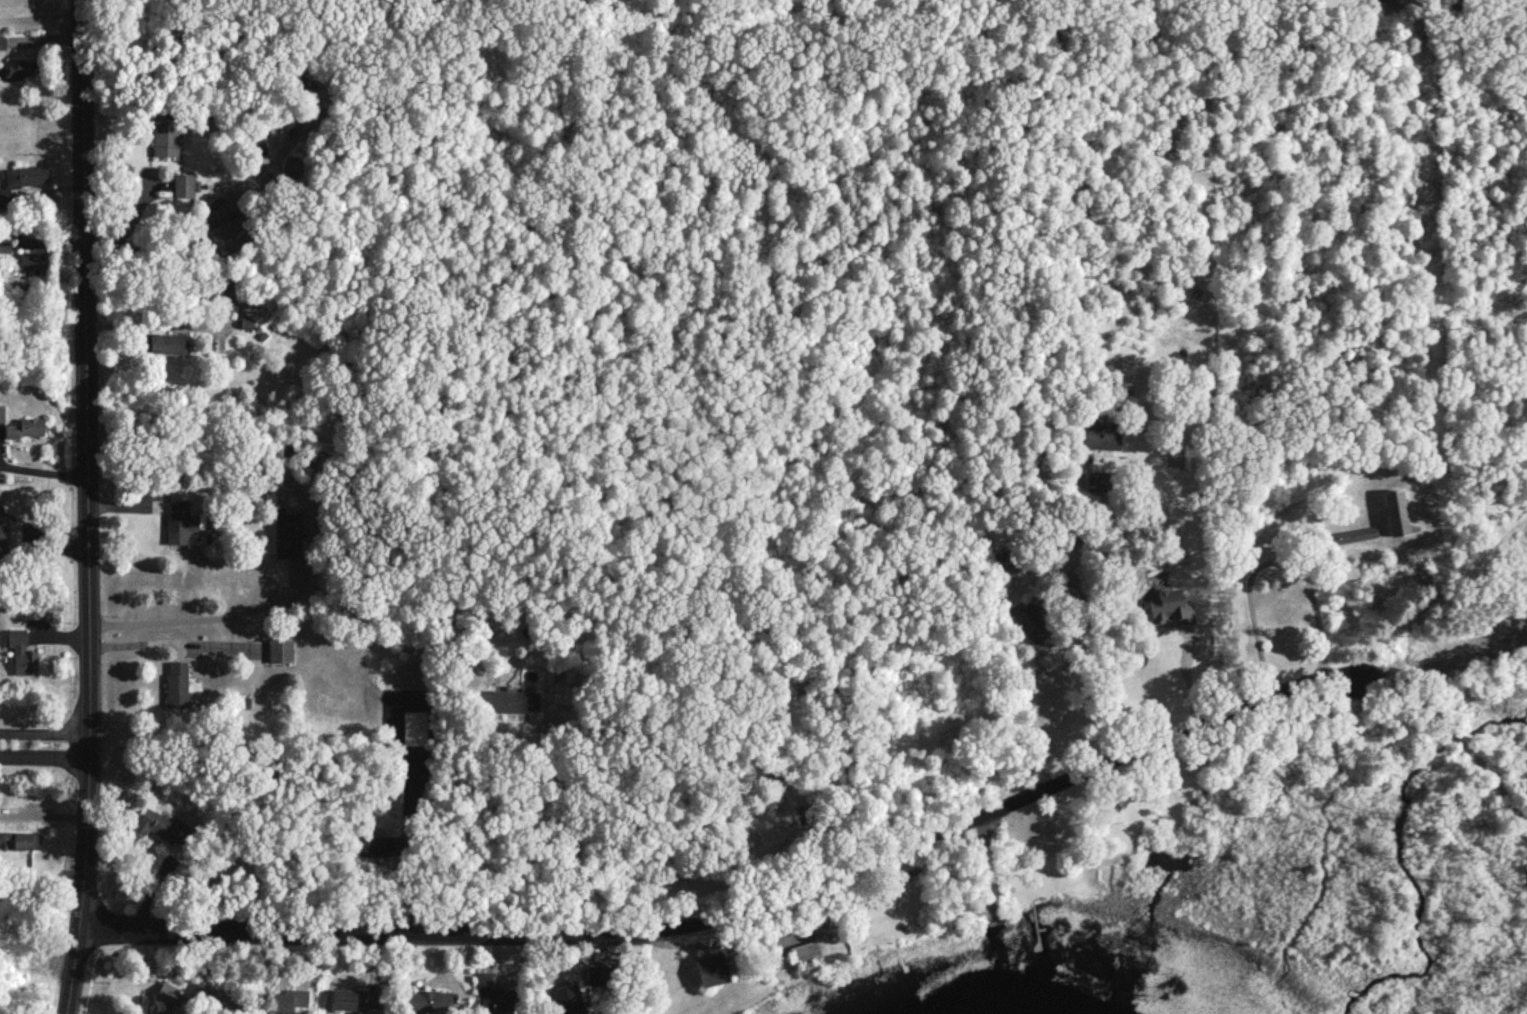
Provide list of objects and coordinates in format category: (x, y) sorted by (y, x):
building: (1389, 1)
building: (2, 41)
building: (22, 66)
building: (165, 136)
building: (22, 178)
building: (183, 184)
road: (131, 224)
building: (230, 234)
road: (42, 237)
building: (31, 262)
building: (227, 293)
road: (150, 323)
building: (168, 342)
building: (2, 412)
building: (26, 427)
building: (1101, 435)
road: (43, 471)
building: (1098, 480)
road: (87, 507)
building: (180, 520)
building: (10, 527)
building: (287, 534)
building: (1351, 534)
road: (1270, 559)
building: (1170, 606)
road: (204, 617)
building: (1035, 625)
building: (280, 649)
building: (22, 654)
road: (1043, 674)
building: (177, 683)
building: (562, 686)
building: (414, 726)
road: (45, 736)
road: (1463, 743)
road: (43, 759)
building: (164, 826)
road: (573, 831)
building: (769, 832)
building: (23, 839)
building: (379, 844)
road: (749, 911)
building: (806, 952)
building: (712, 968)
building: (598, 973)
building: (167, 992)
building: (216, 993)
building: (493, 994)
building: (568, 998)
building: (288, 999)
building: (356, 999)
building: (428, 1002)
building: (162, 1012)

